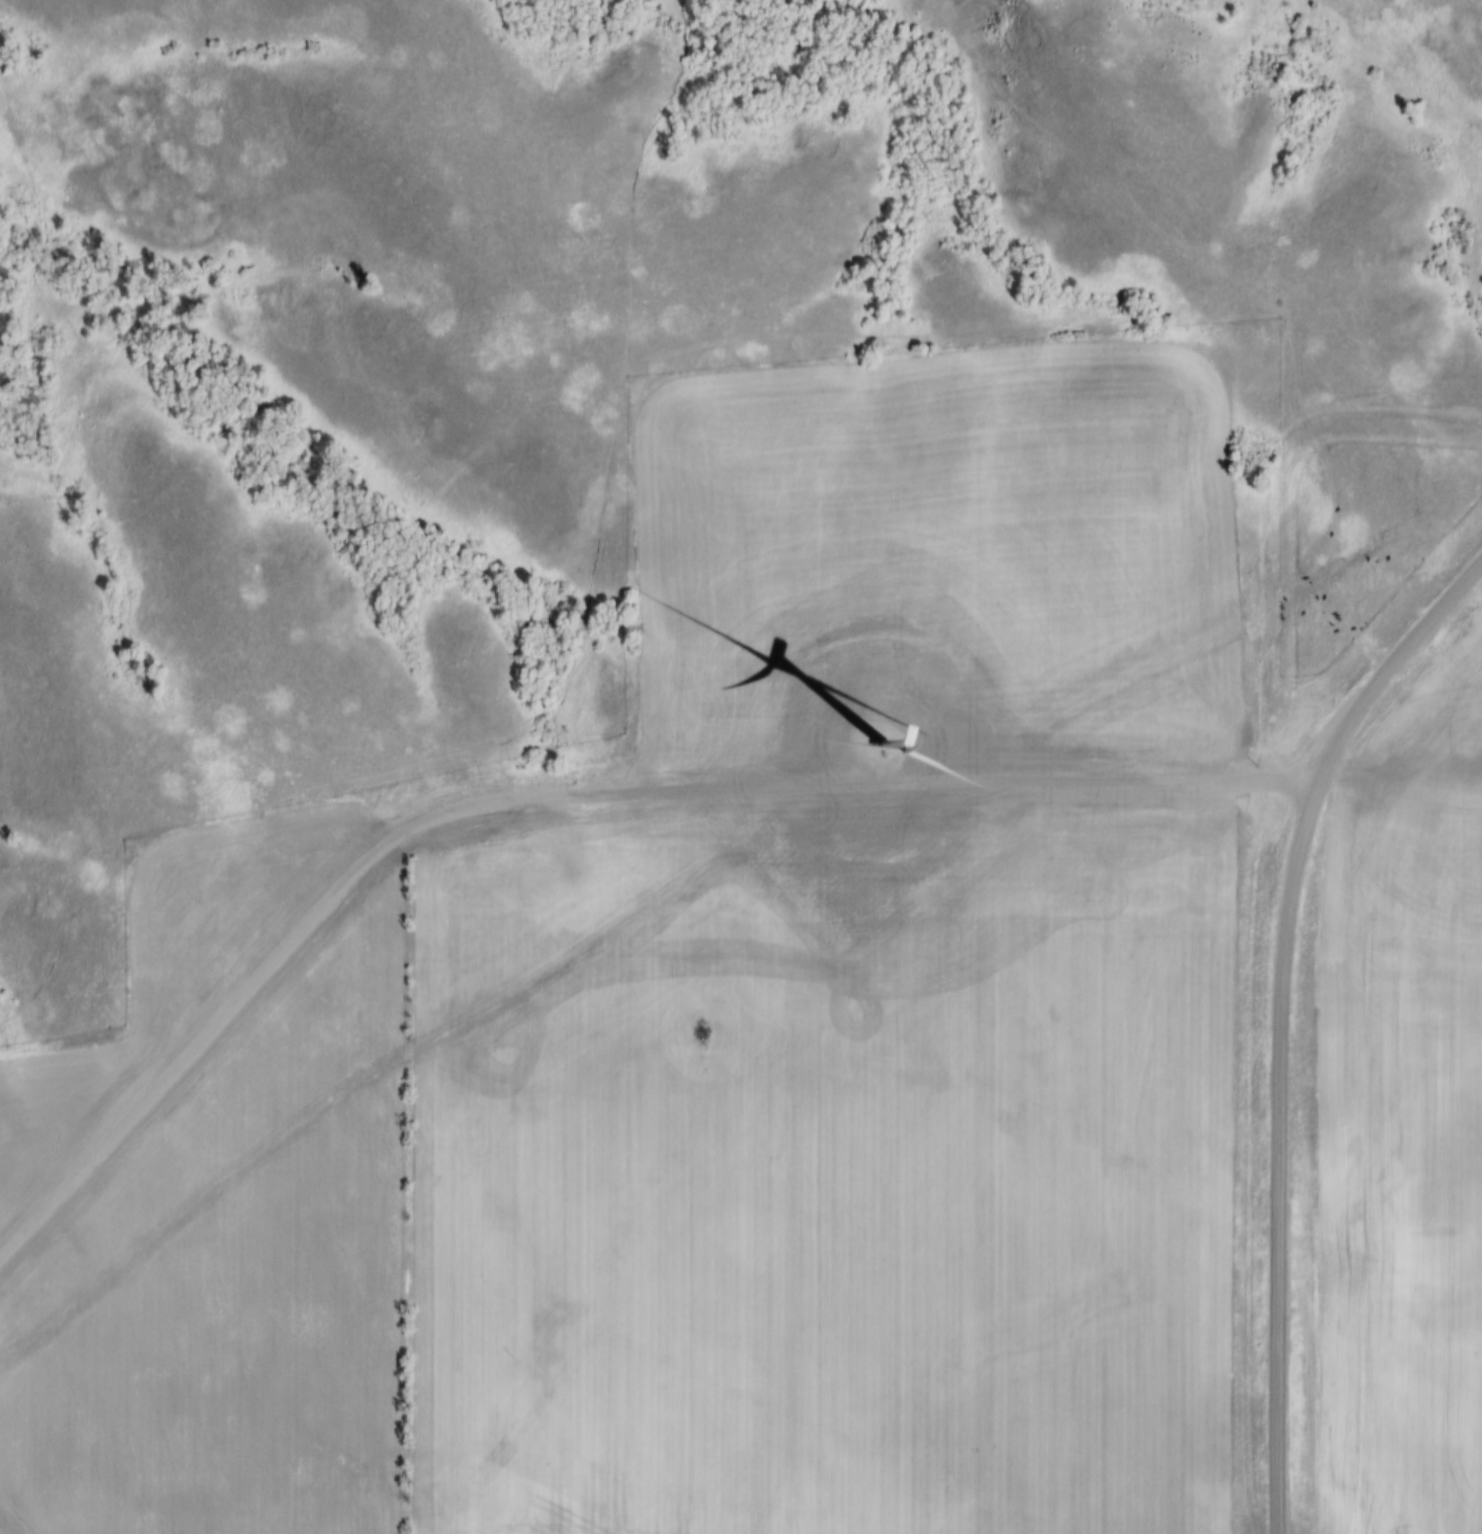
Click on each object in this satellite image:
wind turbine: (875, 739)
road: (539, 825)
road: (1281, 1017)

